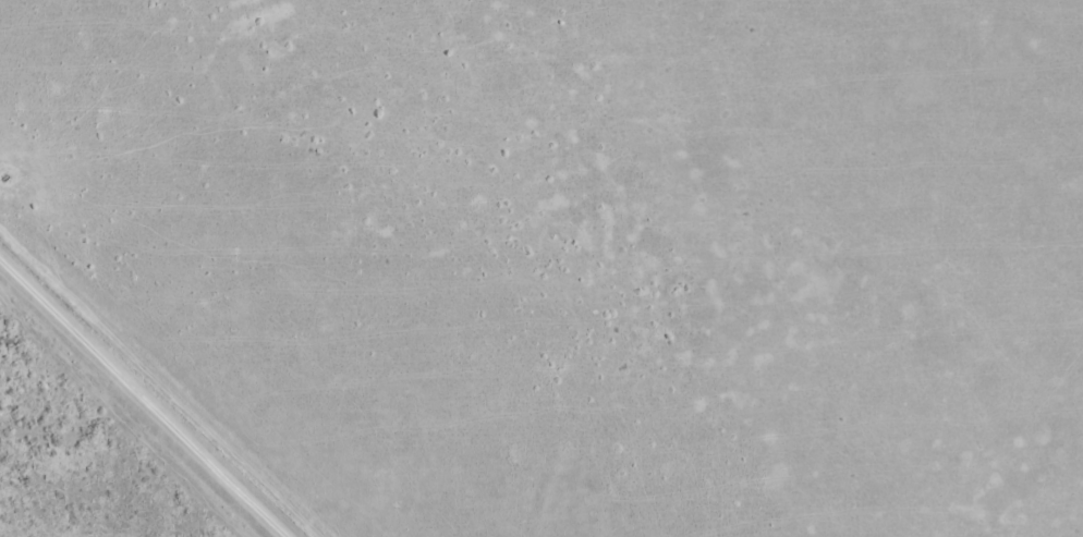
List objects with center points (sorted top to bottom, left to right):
road: (143, 399)

